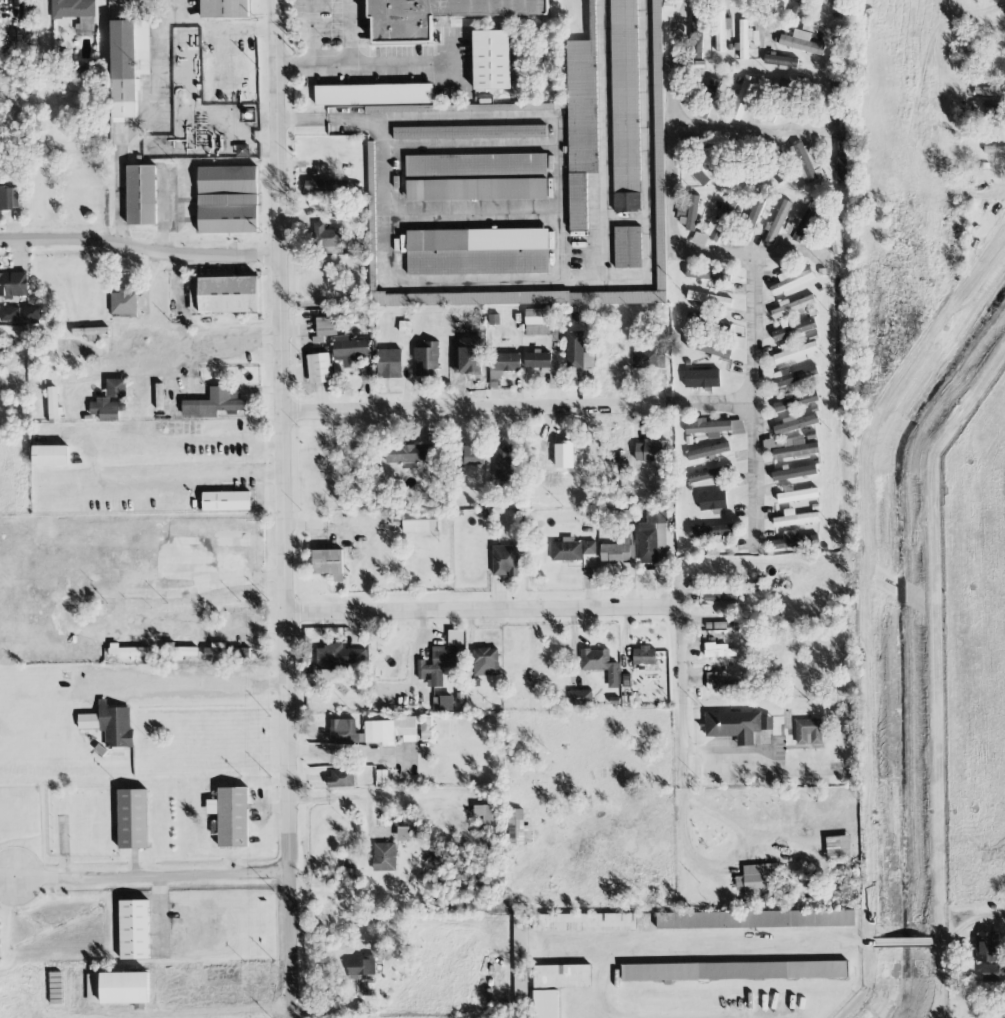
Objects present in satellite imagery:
building: (840, 3)
building: (781, 5)
building: (668, 6)
building: (798, 6)
building: (225, 9)
building: (76, 14)
road: (756, 14)
building: (438, 15)
building: (721, 30)
road: (347, 31)
building: (698, 33)
road: (209, 34)
building: (746, 39)
building: (801, 42)
road: (311, 50)
building: (493, 60)
building: (781, 60)
road: (382, 62)
building: (128, 65)
building: (712, 86)
building: (374, 95)
building: (742, 97)
building: (626, 106)
building: (991, 108)
building: (460, 109)
building: (582, 121)
road: (136, 126)
road: (747, 129)
building: (470, 133)
road: (607, 140)
building: (658, 145)
building: (243, 151)
road: (672, 162)
building: (807, 162)
building: (841, 162)
building: (720, 172)
building: (778, 174)
building: (476, 177)
building: (700, 177)
building: (325, 185)
building: (142, 195)
building: (9, 198)
building: (228, 200)
building: (754, 213)
building: (778, 222)
building: (802, 222)
building: (715, 227)
building: (834, 232)
building: (328, 240)
road: (139, 247)
building: (628, 248)
building: (478, 252)
road: (781, 253)
building: (709, 274)
road: (536, 281)
building: (790, 281)
building: (13, 284)
building: (230, 295)
building: (506, 296)
building: (709, 299)
building: (123, 302)
building: (793, 306)
building: (31, 313)
building: (9, 314)
building: (494, 320)
building: (354, 321)
building: (541, 322)
building: (707, 325)
building: (405, 327)
building: (324, 329)
building: (794, 330)
building: (90, 333)
building: (708, 348)
road: (201, 350)
building: (349, 350)
building: (795, 352)
building: (578, 356)
building: (427, 359)
building: (538, 359)
building: (647, 359)
building: (504, 362)
building: (390, 364)
building: (320, 369)
building: (367, 373)
building: (794, 375)
building: (702, 378)
road: (751, 399)
building: (110, 401)
building: (796, 401)
building: (215, 403)
road: (712, 404)
building: (54, 405)
road: (477, 410)
building: (794, 424)
building: (713, 427)
building: (795, 449)
building: (651, 450)
building: (708, 451)
building: (407, 453)
building: (469, 454)
building: (50, 455)
building: (557, 457)
building: (503, 462)
building: (793, 472)
building: (709, 474)
building: (795, 494)
building: (712, 500)
building: (226, 501)
road: (284, 508)
building: (795, 518)
building: (420, 523)
building: (711, 530)
building: (653, 536)
building: (792, 541)
building: (574, 551)
building: (618, 551)
building: (505, 561)
building: (329, 563)
building: (720, 593)
road: (566, 607)
road: (54, 610)
building: (718, 625)
building: (456, 637)
building: (719, 650)
building: (179, 651)
building: (128, 652)
building: (216, 652)
building: (240, 652)
building: (339, 655)
building: (644, 656)
building: (488, 658)
building: (600, 664)
building: (438, 665)
building: (716, 680)
road: (191, 683)
building: (580, 697)
building: (443, 703)
building: (110, 725)
building: (737, 725)
building: (389, 730)
building: (343, 731)
road: (348, 750)
building: (341, 778)
building: (488, 815)
building: (231, 816)
building: (132, 819)
building: (518, 828)
building: (403, 834)
building: (838, 848)
building: (384, 857)
road: (723, 866)
road: (173, 875)
road: (27, 877)
building: (755, 881)
building: (755, 919)
building: (584, 922)
road: (967, 922)
building: (134, 930)
road: (830, 942)
road: (903, 942)
building: (987, 948)
building: (520, 957)
building: (362, 966)
building: (733, 971)
building: (991, 973)
building: (562, 976)
building: (117, 988)
building: (545, 1004)

